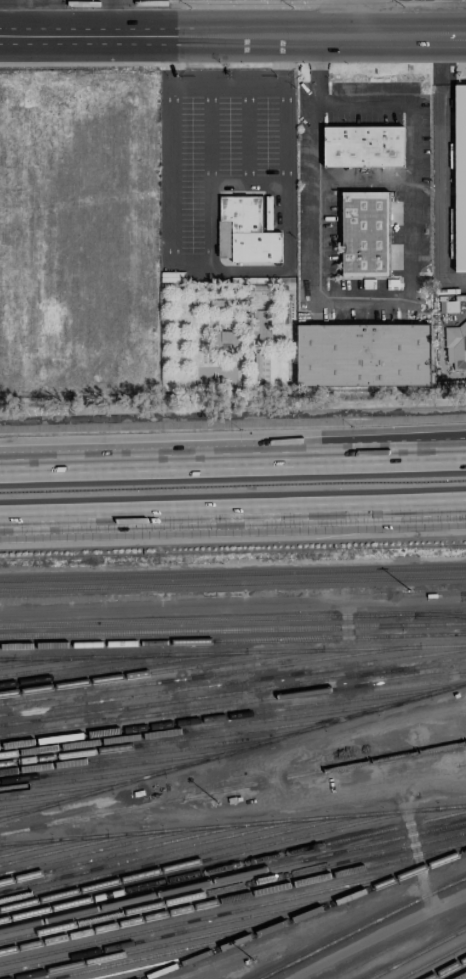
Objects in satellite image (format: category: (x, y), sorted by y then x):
road: (19, 15)
road: (56, 15)
road: (111, 16)
road: (350, 16)
road: (232, 32)
building: (363, 146)
road: (440, 170)
road: (228, 177)
building: (460, 178)
road: (363, 179)
building: (64, 208)
building: (249, 230)
building: (365, 234)
road: (237, 271)
road: (373, 300)
building: (449, 306)
building: (230, 341)
building: (456, 345)
building: (363, 355)
road: (403, 446)
road: (403, 455)
road: (243, 459)
road: (72, 463)
road: (432, 508)
road: (432, 511)
road: (199, 516)
railway: (233, 574)
railway: (233, 583)
road: (233, 608)
railway: (442, 615)
railway: (233, 619)
railway: (233, 629)
railway: (233, 640)
railway: (233, 652)
railway: (7, 658)
railway: (45, 661)
railway: (84, 664)
railway: (122, 667)
railway: (162, 671)
railway: (210, 674)
railway: (233, 682)
railway: (233, 692)
railway: (233, 703)
railway: (233, 715)
railway: (214, 726)
railway: (188, 738)
railway: (161, 750)
railway: (232, 751)
railway: (134, 762)
railway: (108, 774)
railway: (81, 786)
railway: (233, 788)
railway: (55, 799)
railway: (28, 808)
railway: (217, 825)
railway: (25, 843)
railway: (52, 843)
railway: (80, 845)
railway: (108, 847)
railway: (135, 849)
railway: (163, 851)
railway: (232, 852)
railway: (190, 854)
railway: (233, 864)
railway: (233, 876)
railway: (233, 887)
railway: (233, 897)
railway: (224, 914)
railway: (304, 914)
railway: (198, 927)
railway: (362, 927)
railway: (181, 941)
railway: (174, 951)
railway: (417, 953)
railway: (166, 961)
railway: (432, 961)
railway: (446, 968)
railway: (159, 969)
railway: (268, 974)
railway: (462, 976)

